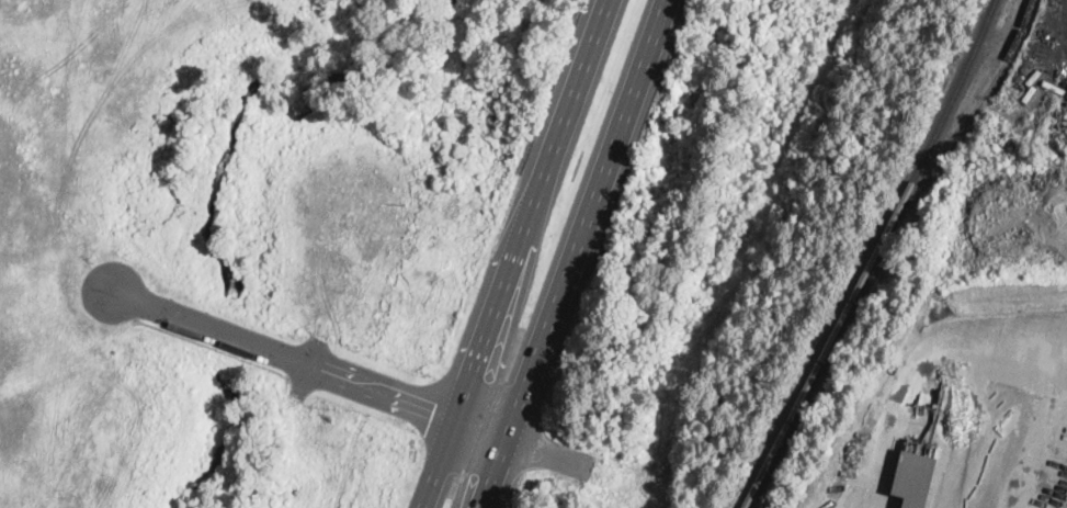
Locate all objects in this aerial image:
railway: (949, 139)
road: (523, 233)
road: (575, 253)
railway: (874, 256)
road: (217, 349)
road: (917, 357)
road: (313, 363)
road: (1025, 453)
building: (915, 478)
road: (430, 487)

